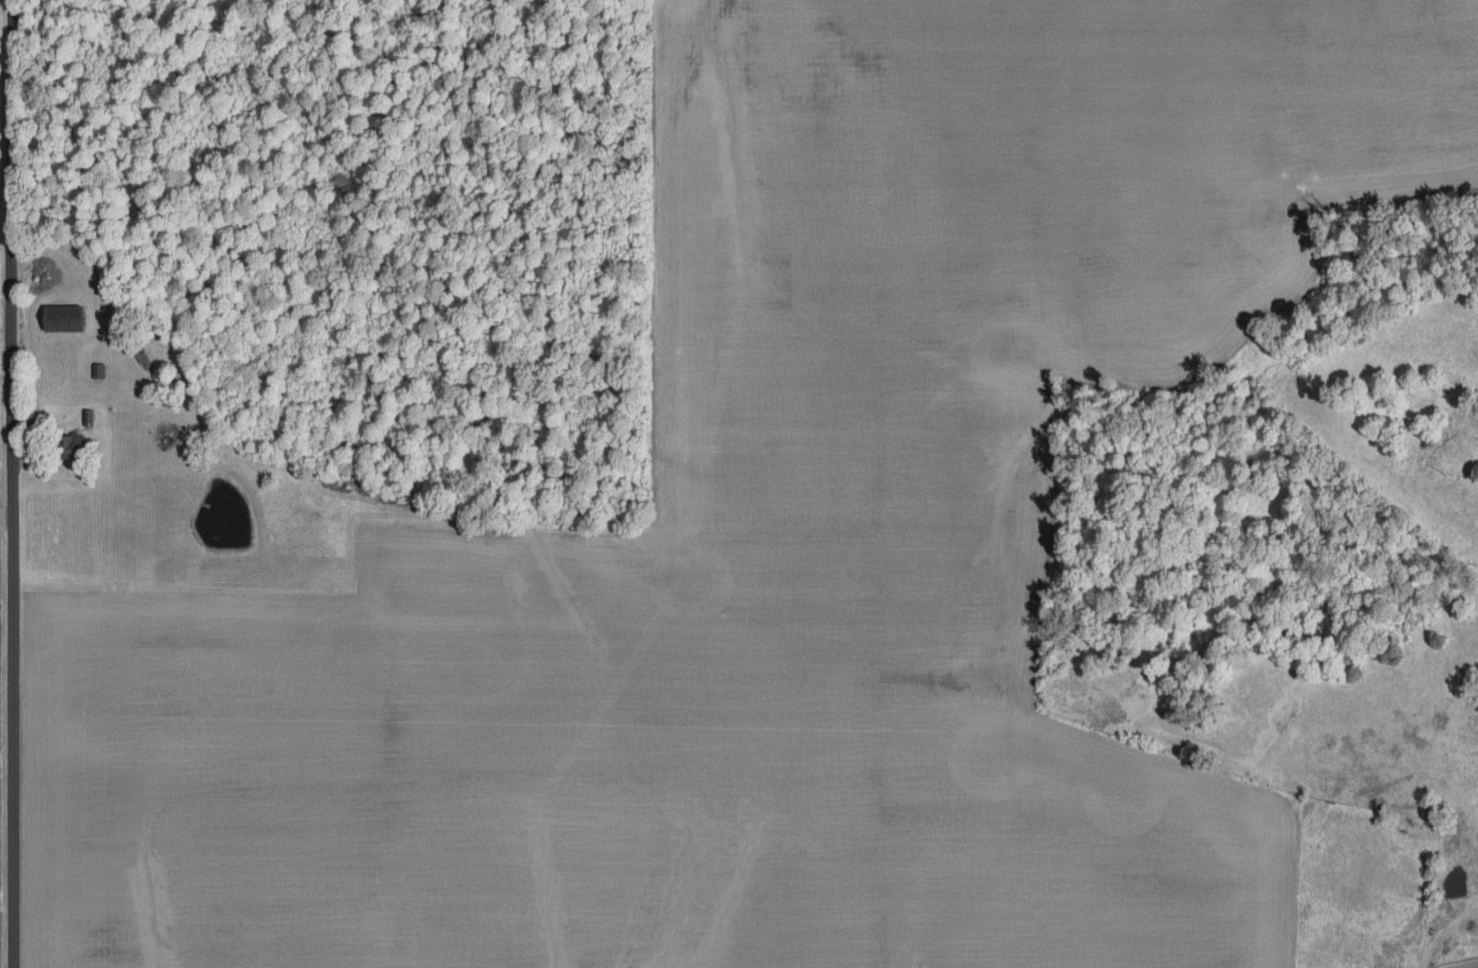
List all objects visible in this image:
building: (64, 317)
road: (14, 442)
building: (71, 444)
road: (14, 926)

